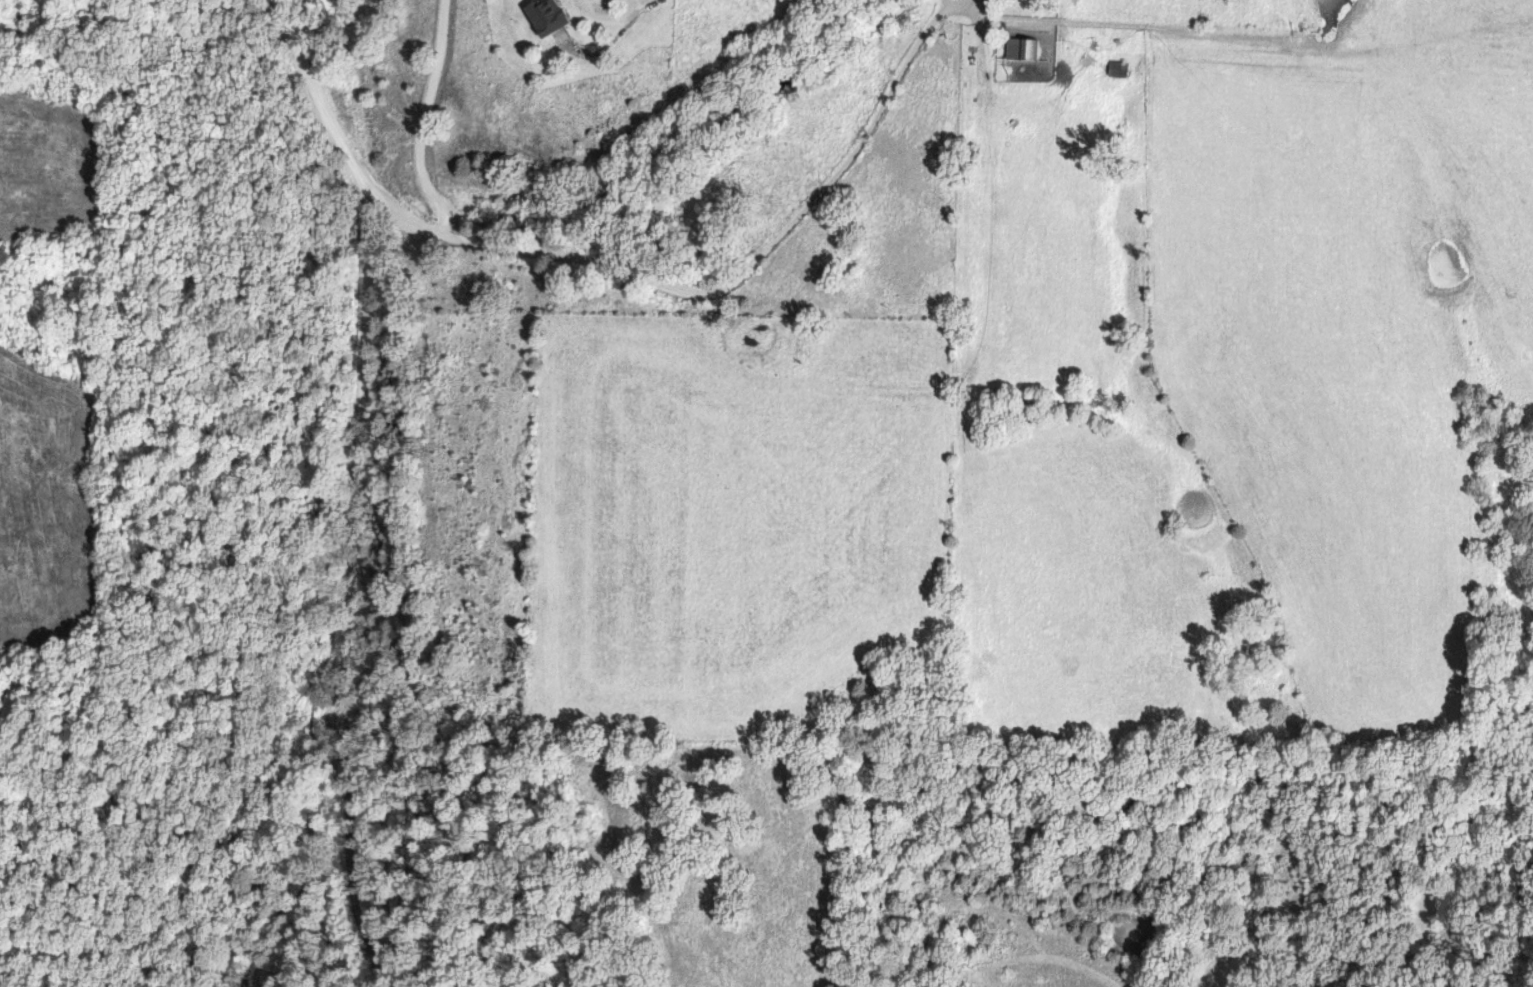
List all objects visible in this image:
building: (543, 16)
road: (606, 41)
building: (1115, 68)
road: (426, 121)
road: (783, 228)
road: (363, 491)
road: (355, 816)

